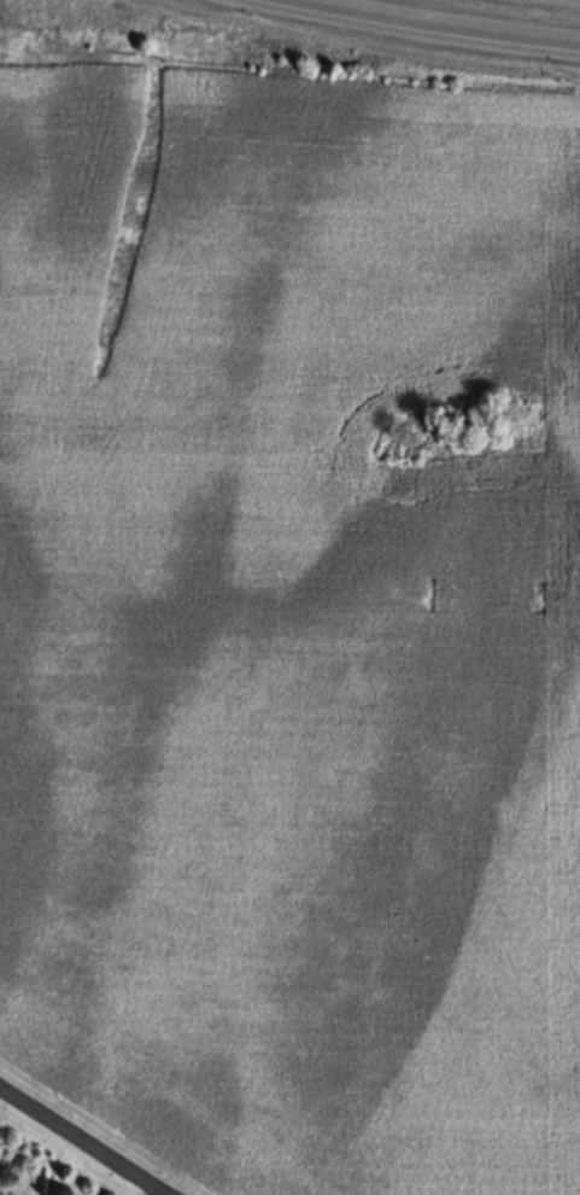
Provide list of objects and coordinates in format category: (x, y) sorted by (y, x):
road: (429, 28)
road: (83, 1139)

